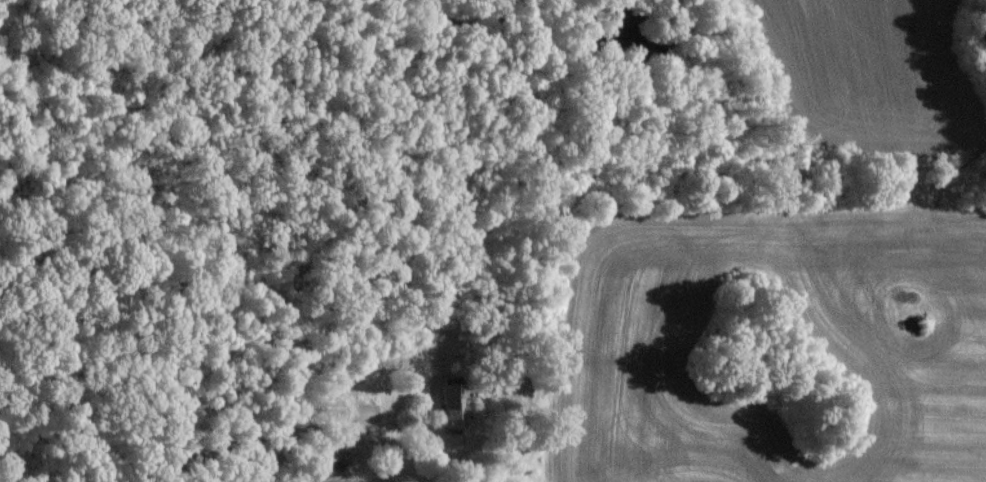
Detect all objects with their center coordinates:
building: (452, 403)
road: (518, 451)

